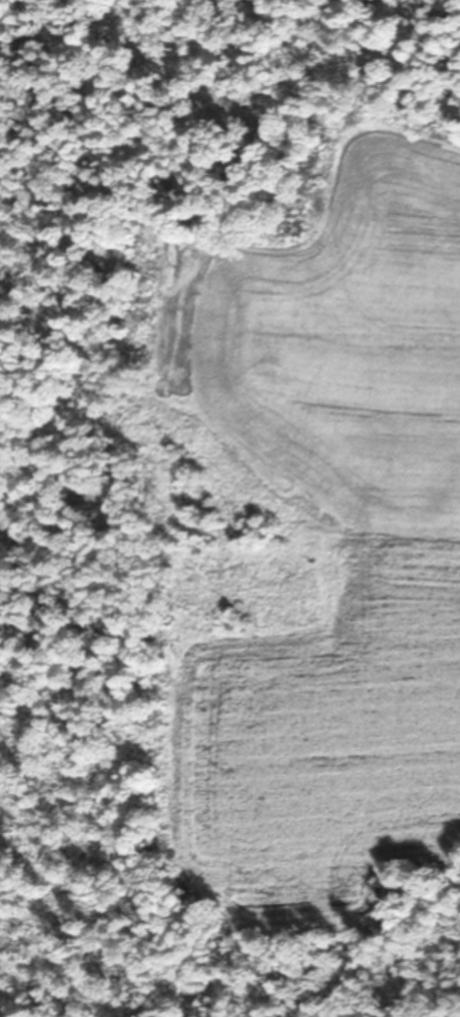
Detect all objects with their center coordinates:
crop: (322, 522)

